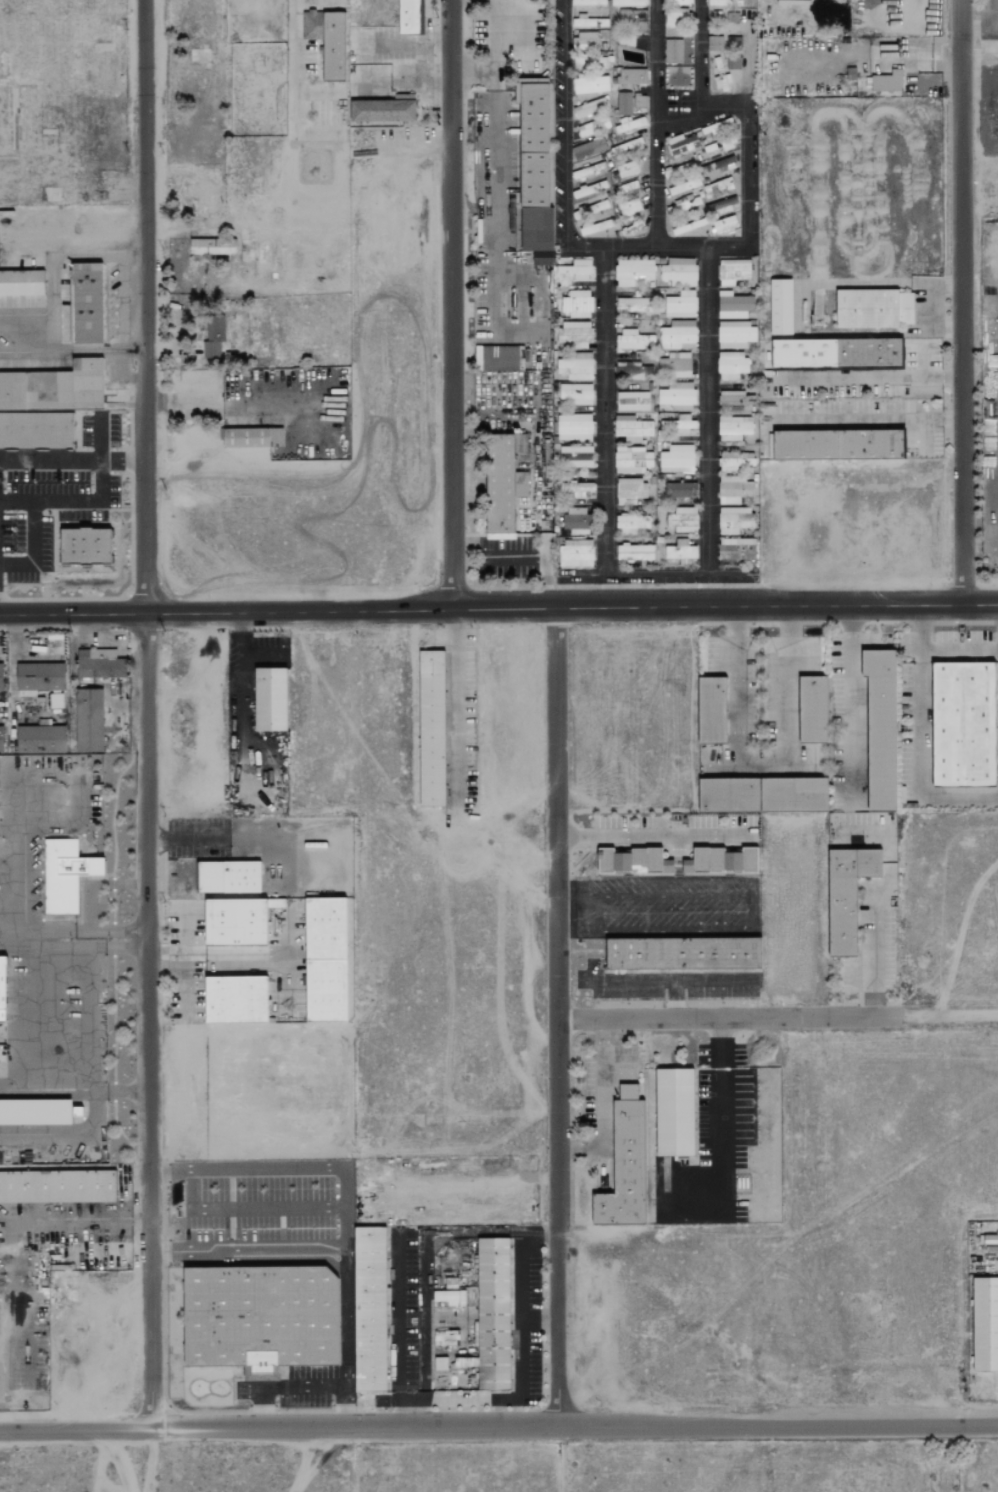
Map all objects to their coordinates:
building: (588, 2)
building: (628, 2)
building: (722, 2)
building: (678, 12)
building: (408, 15)
building: (587, 21)
building: (635, 22)
building: (327, 39)
road: (405, 41)
building: (584, 41)
building: (714, 44)
building: (673, 51)
road: (700, 52)
road: (494, 59)
building: (734, 59)
building: (592, 61)
parking lot: (390, 62)
road: (657, 64)
building: (719, 75)
building: (632, 76)
parking lot: (311, 80)
road: (422, 81)
building: (888, 81)
building: (590, 85)
road: (293, 88)
road: (315, 93)
building: (639, 101)
building: (623, 103)
building: (590, 107)
building: (384, 109)
building: (593, 126)
building: (717, 126)
road: (412, 141)
road: (565, 141)
building: (682, 144)
building: (512, 146)
building: (626, 147)
building: (589, 149)
building: (719, 166)
building: (588, 168)
building: (627, 169)
building: (678, 170)
building: (684, 186)
building: (717, 186)
building: (626, 187)
building: (589, 189)
road: (656, 189)
building: (201, 191)
road: (747, 199)
building: (719, 205)
building: (629, 207)
building: (589, 208)
building: (725, 224)
building: (688, 226)
building: (212, 246)
road: (98, 257)
building: (577, 269)
building: (733, 271)
building: (633, 272)
building: (679, 272)
building: (22, 282)
parking lot: (115, 302)
road: (962, 302)
building: (87, 303)
road: (119, 303)
building: (818, 303)
road: (452, 304)
building: (577, 304)
road: (51, 305)
building: (632, 305)
building: (680, 305)
building: (734, 305)
building: (781, 307)
building: (874, 308)
road: (26, 319)
parking lot: (39, 325)
building: (574, 334)
building: (736, 334)
building: (678, 335)
building: (212, 337)
building: (632, 340)
road: (99, 350)
building: (869, 352)
road: (26, 353)
building: (804, 353)
building: (498, 358)
building: (675, 365)
building: (731, 365)
building: (575, 367)
building: (633, 371)
building: (55, 386)
building: (575, 394)
building: (677, 396)
building: (735, 398)
building: (632, 401)
road: (220, 403)
building: (288, 409)
road: (868, 420)
building: (678, 424)
road: (708, 426)
building: (574, 427)
road: (605, 427)
building: (631, 428)
building: (734, 428)
building: (36, 429)
road: (924, 437)
building: (839, 443)
building: (575, 457)
building: (677, 459)
building: (631, 460)
building: (735, 461)
road: (73, 462)
building: (498, 486)
building: (576, 487)
building: (680, 488)
building: (631, 489)
road: (101, 490)
building: (735, 490)
building: (576, 520)
building: (683, 520)
building: (734, 520)
building: (631, 523)
road: (34, 530)
building: (85, 545)
building: (736, 549)
building: (680, 550)
building: (634, 552)
building: (576, 553)
road: (657, 573)
road: (498, 608)
building: (102, 666)
building: (1, 677)
building: (39, 678)
building: (272, 700)
building: (55, 701)
road: (853, 704)
road: (456, 707)
building: (813, 709)
building: (712, 710)
parking lot: (460, 711)
road: (146, 714)
building: (89, 721)
building: (964, 723)
building: (432, 726)
building: (881, 726)
road: (918, 738)
building: (40, 739)
building: (1, 740)
road: (762, 768)
building: (794, 793)
building: (729, 794)
road: (186, 838)
road: (496, 851)
building: (633, 860)
building: (722, 860)
building: (66, 873)
building: (229, 876)
building: (847, 896)
road: (535, 897)
building: (658, 901)
road: (91, 909)
road: (748, 912)
road: (875, 913)
building: (236, 922)
building: (326, 928)
road: (183, 941)
road: (50, 943)
road: (528, 953)
building: (684, 953)
road: (699, 981)
road: (636, 982)
road: (183, 983)
parking lot: (665, 983)
building: (3, 990)
building: (326, 990)
building: (237, 999)
road: (949, 1015)
road: (557, 1016)
road: (729, 1017)
road: (90, 1018)
building: (628, 1091)
building: (35, 1111)
building: (675, 1112)
road: (724, 1118)
building: (625, 1168)
building: (58, 1185)
road: (247, 1209)
road: (38, 1226)
road: (347, 1238)
building: (990, 1243)
road: (249, 1251)
road: (518, 1292)
building: (448, 1295)
building: (371, 1307)
building: (495, 1314)
building: (261, 1318)
building: (985, 1324)
road: (403, 1333)
road: (520, 1359)
building: (440, 1364)
road: (342, 1405)
road: (498, 1426)
road: (152, 1460)

